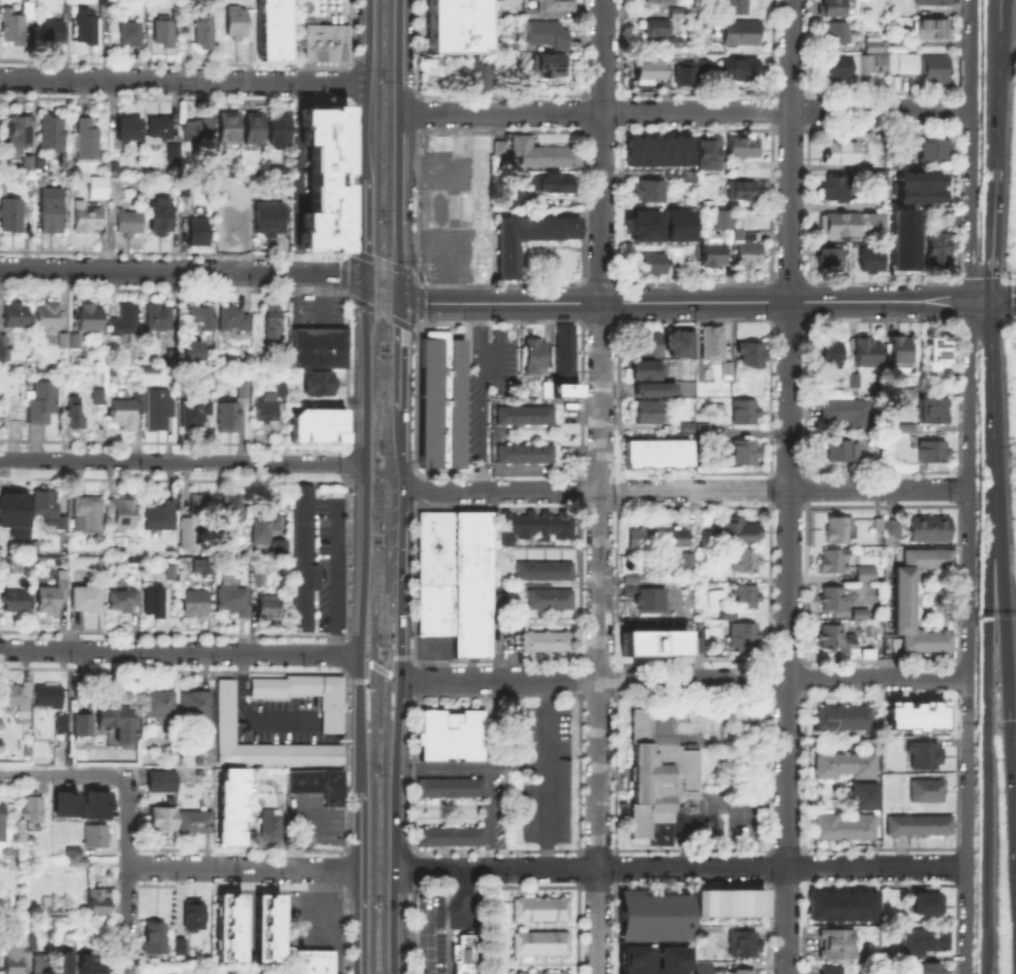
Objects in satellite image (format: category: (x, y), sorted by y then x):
building: (100, 1)
building: (661, 1)
building: (104, 2)
building: (934, 3)
building: (250, 4)
building: (835, 6)
building: (68, 7)
building: (552, 7)
building: (738, 7)
building: (675, 11)
building: (680, 14)
building: (236, 22)
building: (16, 25)
building: (454, 25)
building: (87, 28)
building: (275, 30)
building: (165, 31)
building: (934, 31)
building: (53, 32)
building: (661, 32)
building: (205, 33)
building: (837, 33)
building: (741, 34)
building: (132, 35)
building: (549, 35)
building: (899, 43)
building: (328, 44)
building: (702, 63)
building: (551, 66)
building: (736, 66)
building: (906, 67)
building: (646, 68)
building: (843, 70)
building: (476, 73)
building: (682, 73)
road: (183, 80)
road: (993, 84)
road: (1002, 84)
road: (365, 89)
road: (685, 111)
building: (199, 127)
building: (162, 128)
building: (229, 129)
building: (255, 129)
building: (279, 130)
building: (130, 131)
building: (21, 132)
building: (54, 133)
building: (87, 141)
building: (745, 145)
building: (498, 146)
road: (398, 147)
building: (657, 148)
building: (171, 150)
road: (972, 150)
building: (936, 151)
building: (544, 154)
building: (710, 155)
building: (910, 155)
building: (849, 156)
building: (28, 161)
building: (116, 164)
building: (323, 177)
building: (689, 178)
building: (881, 181)
building: (551, 184)
building: (96, 186)
building: (917, 186)
building: (838, 189)
building: (743, 190)
building: (651, 191)
building: (54, 212)
building: (163, 214)
building: (12, 215)
building: (88, 218)
building: (236, 218)
building: (270, 220)
building: (130, 222)
building: (642, 224)
building: (676, 224)
building: (854, 226)
road: (364, 230)
building: (200, 233)
road: (993, 233)
building: (739, 237)
building: (901, 237)
building: (530, 238)
building: (939, 250)
building: (714, 252)
building: (869, 258)
building: (832, 259)
building: (648, 266)
road: (182, 271)
traffic signals: (364, 283)
traffic signals: (400, 295)
road: (994, 300)
road: (666, 302)
building: (18, 316)
building: (48, 316)
building: (159, 318)
building: (92, 319)
building: (207, 319)
building: (232, 319)
building: (127, 321)
building: (268, 321)
building: (64, 338)
building: (76, 339)
building: (680, 344)
building: (714, 344)
building: (649, 345)
building: (5, 349)
building: (185, 349)
building: (321, 350)
road: (400, 351)
building: (829, 353)
building: (868, 353)
building: (900, 353)
building: (567, 354)
building: (939, 355)
building: (536, 357)
building: (752, 357)
building: (168, 358)
building: (648, 371)
building: (727, 371)
building: (855, 381)
building: (321, 384)
building: (563, 389)
building: (655, 390)
building: (245, 391)
building: (547, 391)
road: (992, 391)
road: (480, 396)
building: (99, 397)
railway: (379, 401)
building: (45, 402)
building: (443, 402)
building: (140, 403)
building: (270, 403)
building: (929, 408)
building: (161, 409)
building: (124, 411)
building: (196, 411)
building: (76, 413)
building: (649, 413)
building: (745, 413)
building: (849, 413)
building: (526, 416)
building: (229, 418)
building: (316, 424)
building: (687, 426)
building: (902, 426)
building: (15, 429)
building: (655, 452)
building: (746, 452)
building: (840, 452)
building: (933, 452)
building: (526, 454)
road: (183, 462)
railway: (374, 486)
railway: (385, 486)
road: (789, 486)
road: (600, 487)
road: (684, 489)
building: (10, 504)
building: (200, 506)
building: (236, 506)
building: (50, 509)
building: (123, 513)
building: (89, 515)
building: (162, 517)
building: (880, 525)
building: (890, 526)
building: (536, 527)
building: (927, 527)
building: (266, 529)
building: (839, 530)
building: (187, 533)
building: (740, 534)
road: (366, 536)
building: (679, 538)
building: (641, 540)
building: (281, 549)
building: (307, 559)
building: (834, 561)
building: (690, 562)
building: (747, 562)
building: (6, 563)
building: (203, 566)
building: (546, 572)
building: (171, 573)
building: (867, 574)
building: (258, 579)
road: (964, 582)
railway: (378, 593)
building: (54, 595)
building: (646, 595)
building: (747, 597)
building: (499, 599)
building: (88, 600)
building: (834, 600)
building: (233, 601)
building: (552, 601)
building: (906, 601)
building: (18, 602)
building: (123, 602)
building: (155, 602)
building: (195, 604)
building: (267, 608)
building: (858, 612)
building: (729, 616)
building: (453, 618)
building: (745, 639)
building: (840, 639)
building: (652, 641)
building: (549, 643)
building: (702, 647)
building: (432, 649)
parking lot: (502, 649)
road: (180, 652)
road: (379, 667)
road: (682, 678)
road: (399, 691)
building: (308, 696)
building: (50, 697)
building: (16, 700)
road: (1007, 702)
building: (160, 706)
building: (196, 706)
building: (914, 713)
building: (229, 714)
road: (250, 715)
building: (846, 720)
traffic signals: (1008, 720)
building: (117, 725)
building: (62, 726)
building: (84, 726)
road: (986, 728)
building: (455, 737)
building: (925, 756)
building: (843, 763)
road: (490, 773)
road: (544, 773)
building: (661, 773)
road: (60, 774)
building: (163, 783)
building: (320, 785)
building: (451, 789)
building: (928, 791)
building: (862, 794)
building: (82, 802)
building: (229, 804)
building: (33, 808)
building: (165, 820)
building: (3, 823)
building: (197, 823)
building: (842, 825)
building: (272, 827)
building: (921, 827)
building: (97, 837)
building: (451, 837)
building: (70, 849)
building: (77, 858)
road: (243, 866)
road: (679, 866)
road: (127, 874)
road: (360, 881)
road: (460, 886)
building: (727, 901)
building: (100, 902)
building: (842, 904)
building: (931, 904)
road: (318, 906)
road: (244, 910)
building: (542, 910)
building: (192, 912)
building: (652, 916)
road: (965, 919)
road: (343, 921)
building: (227, 925)
building: (265, 926)
building: (152, 936)
road: (424, 937)
building: (31, 943)
building: (926, 943)
building: (178, 944)
building: (542, 945)
building: (743, 945)
building: (836, 945)
road: (427, 955)
building: (463, 955)
building: (632, 957)
building: (14, 960)
building: (62, 961)
building: (312, 962)
building: (91, 964)
building: (43, 965)
park: (203, 967)
building: (920, 967)
building: (701, 968)
building: (833, 971)
building: (551, 973)
building: (742, 973)

